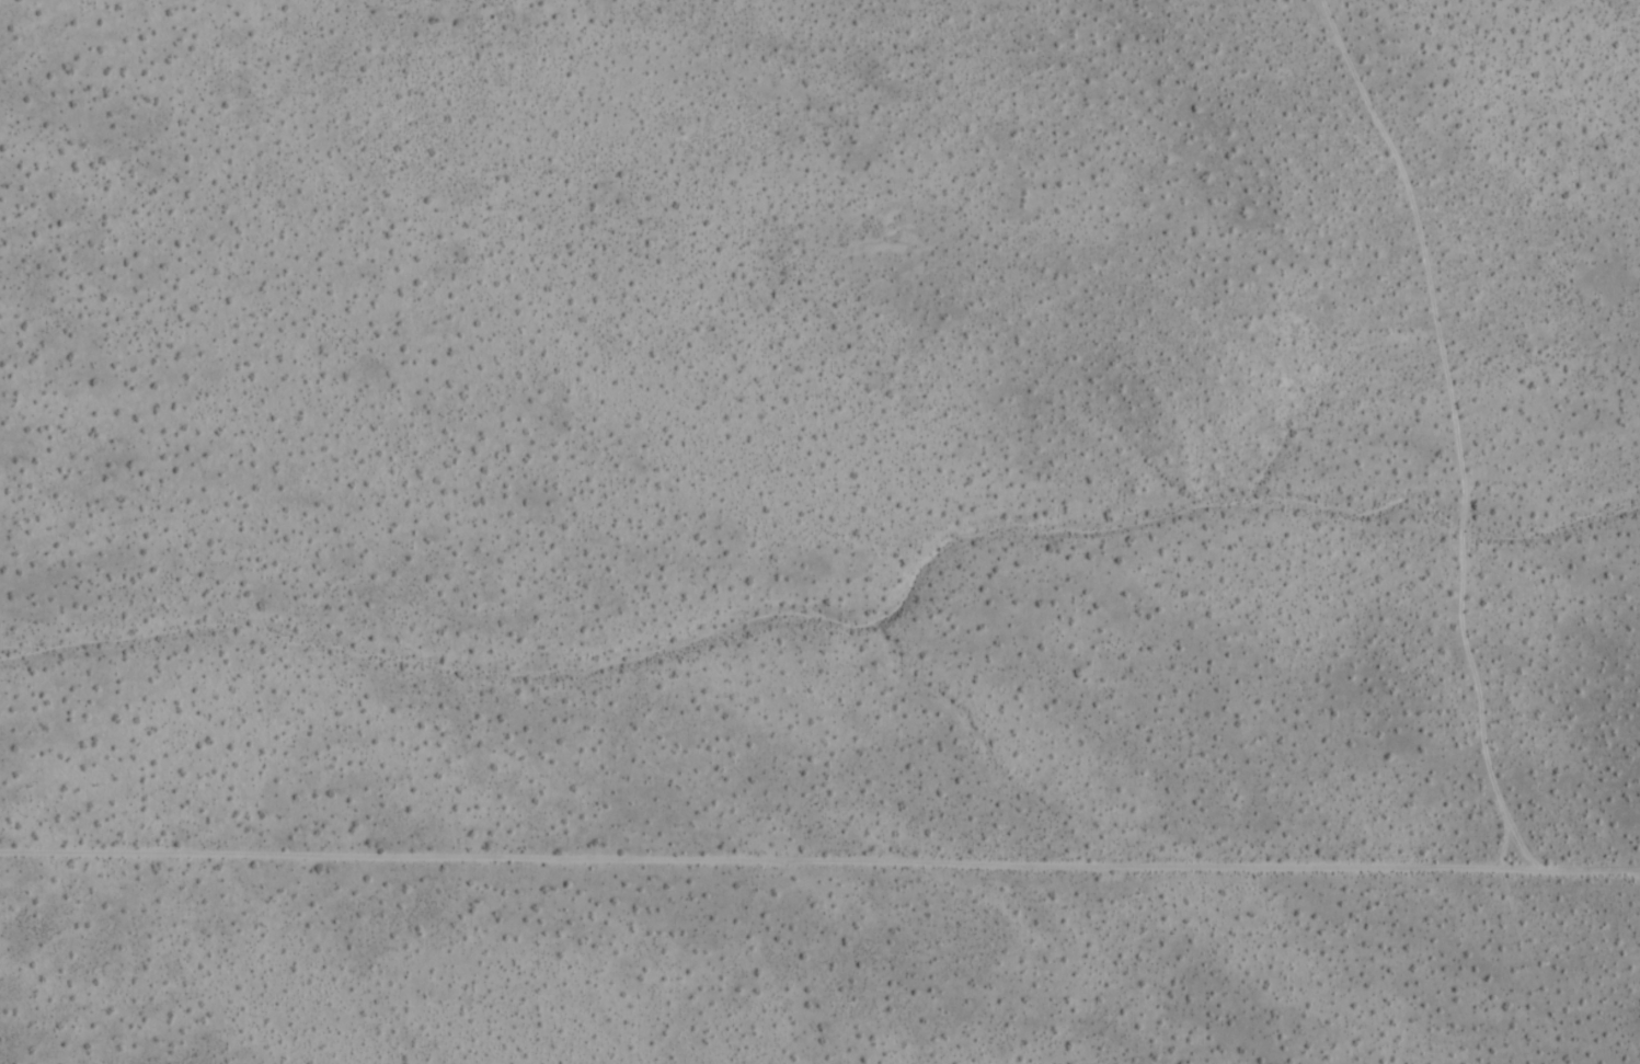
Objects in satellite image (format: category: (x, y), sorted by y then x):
road: (819, 859)

